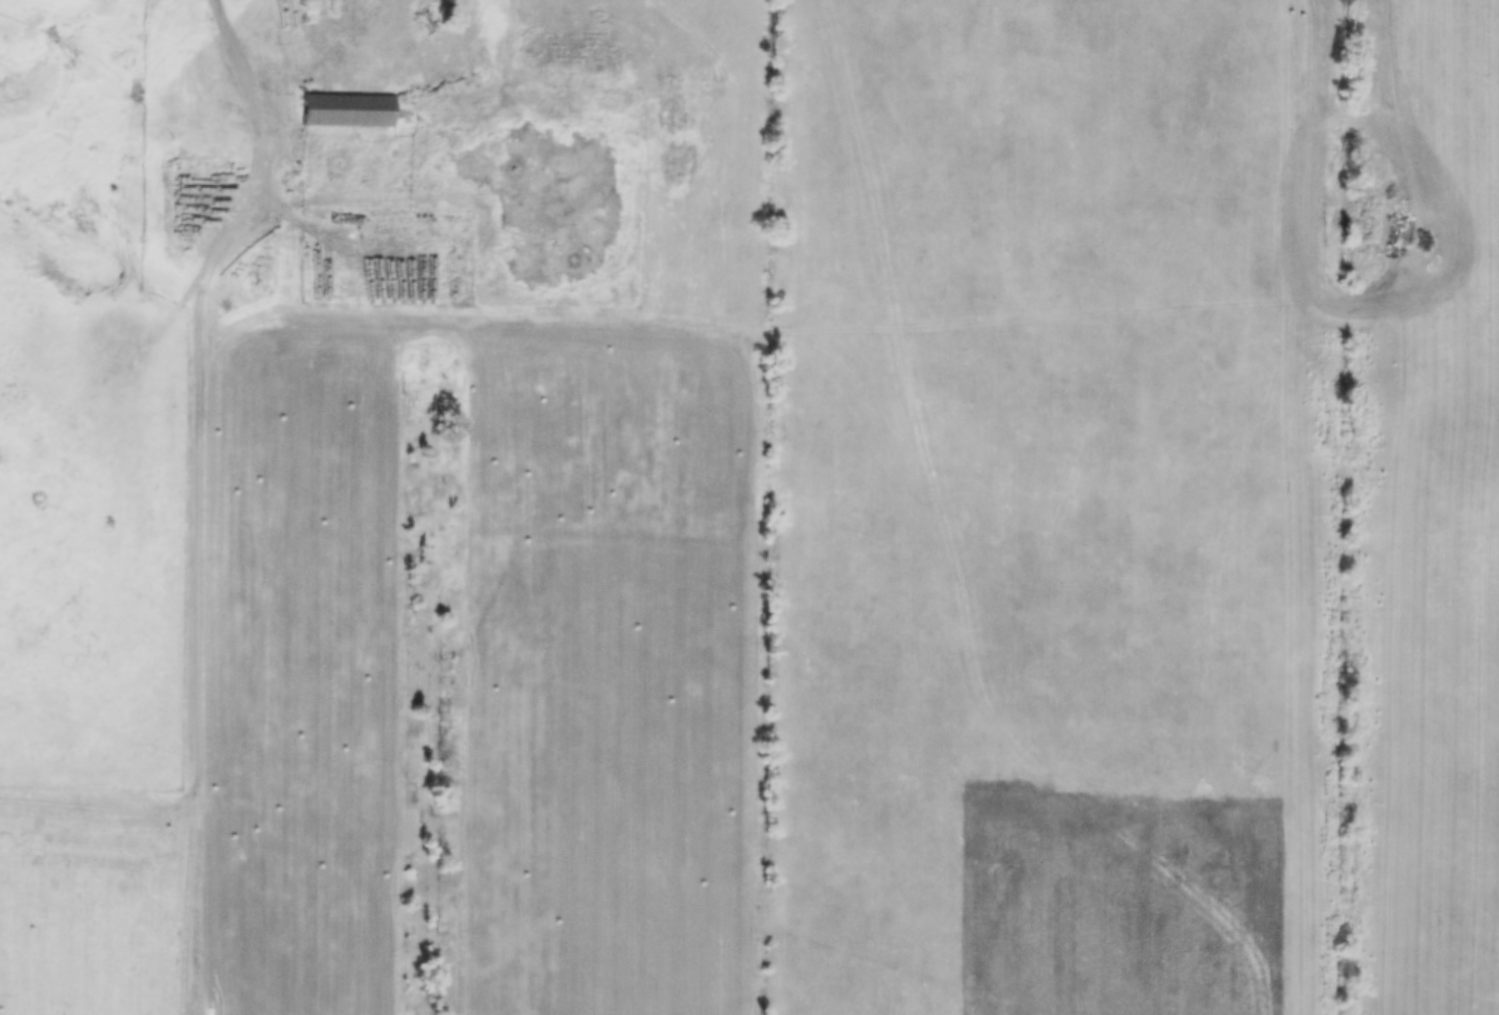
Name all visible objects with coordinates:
road: (237, 72)
building: (349, 109)
road: (195, 452)

